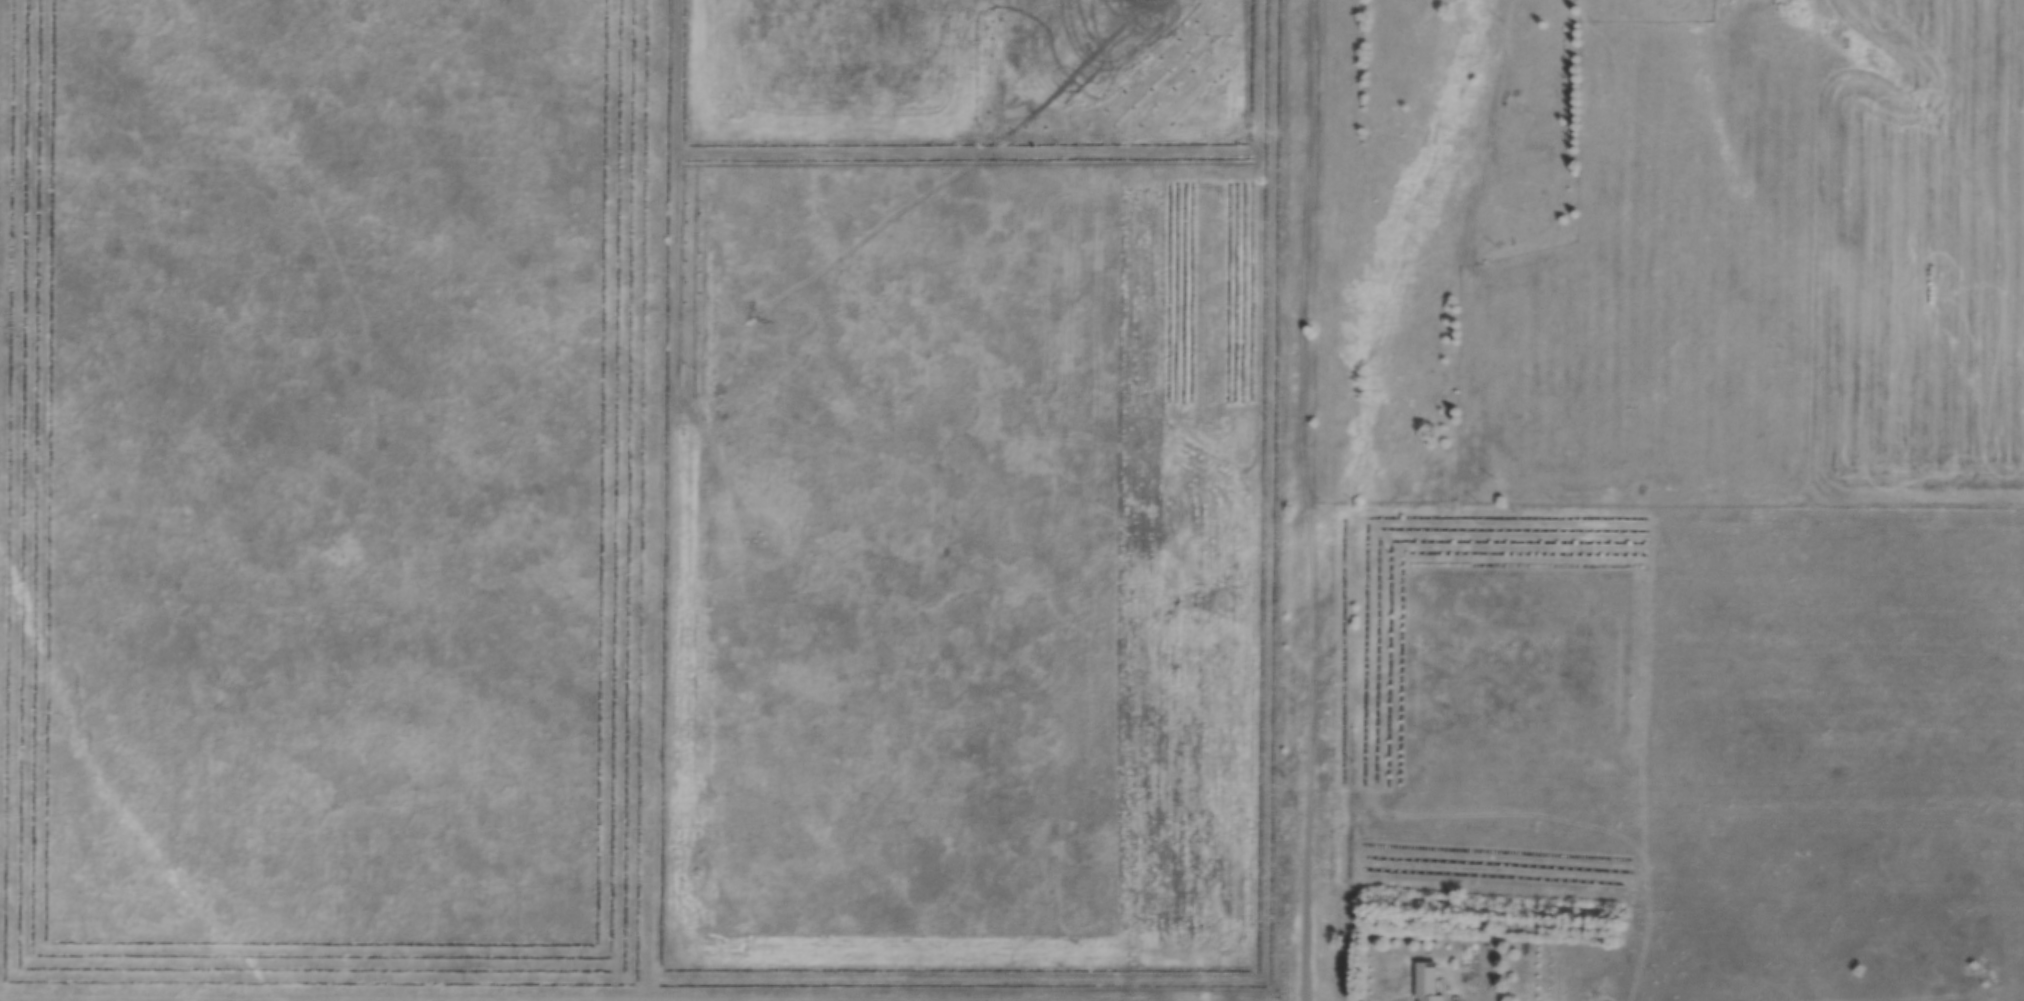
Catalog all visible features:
road: (1302, 398)
road: (1307, 898)
building: (1429, 981)

